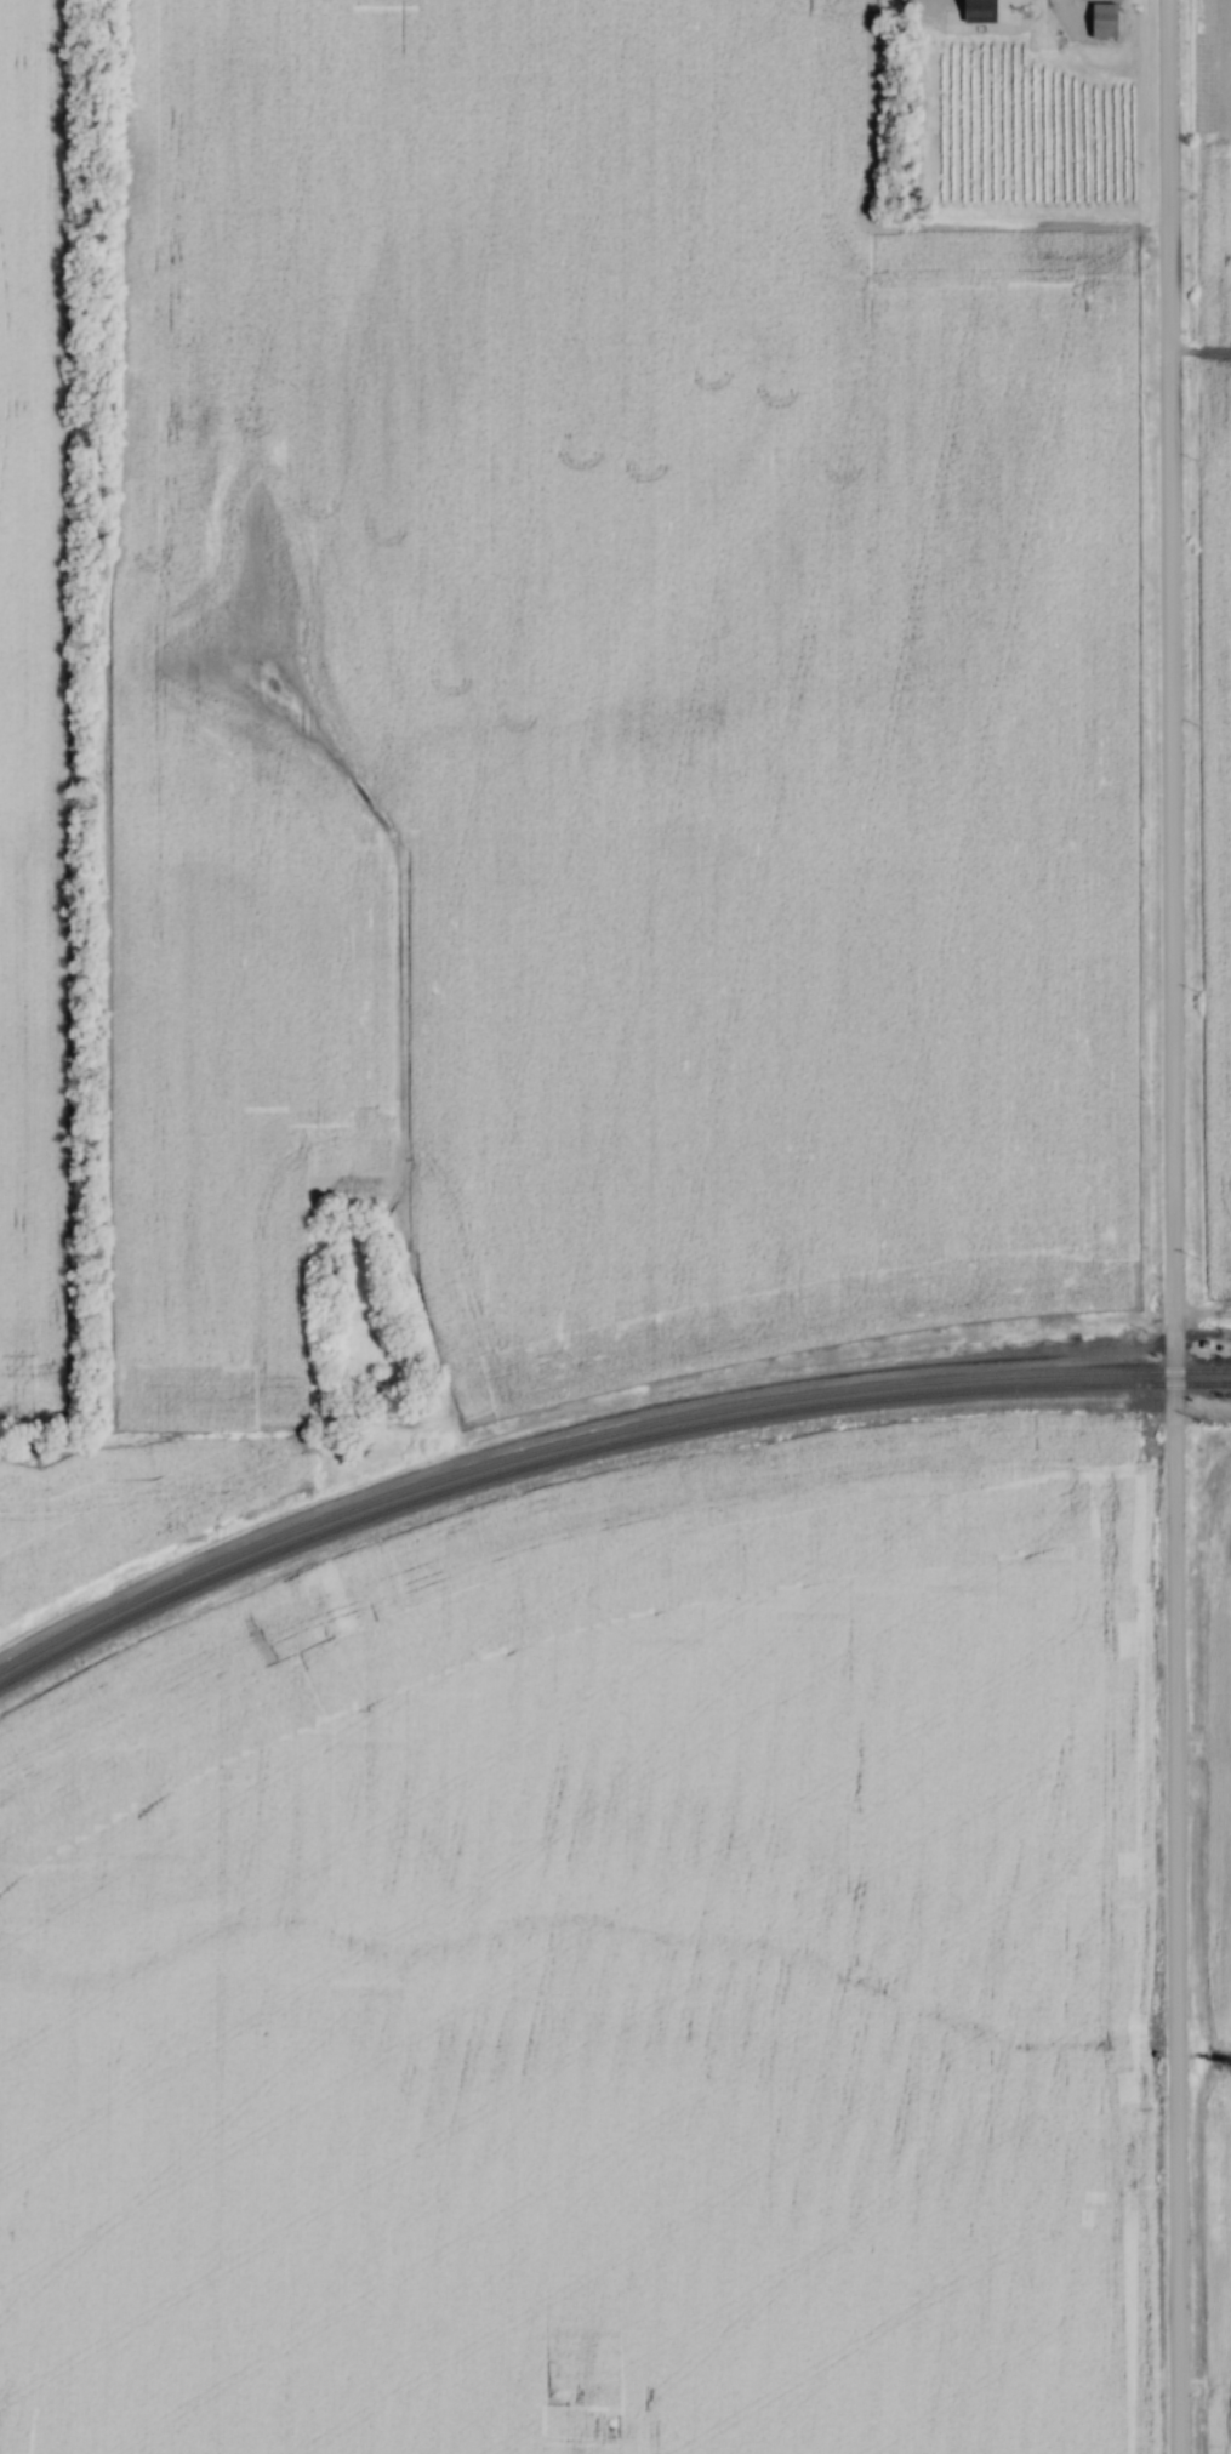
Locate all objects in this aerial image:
building: (974, 12)
building: (1100, 22)
road: (1168, 1226)
railway: (594, 1428)
railway: (593, 1448)

